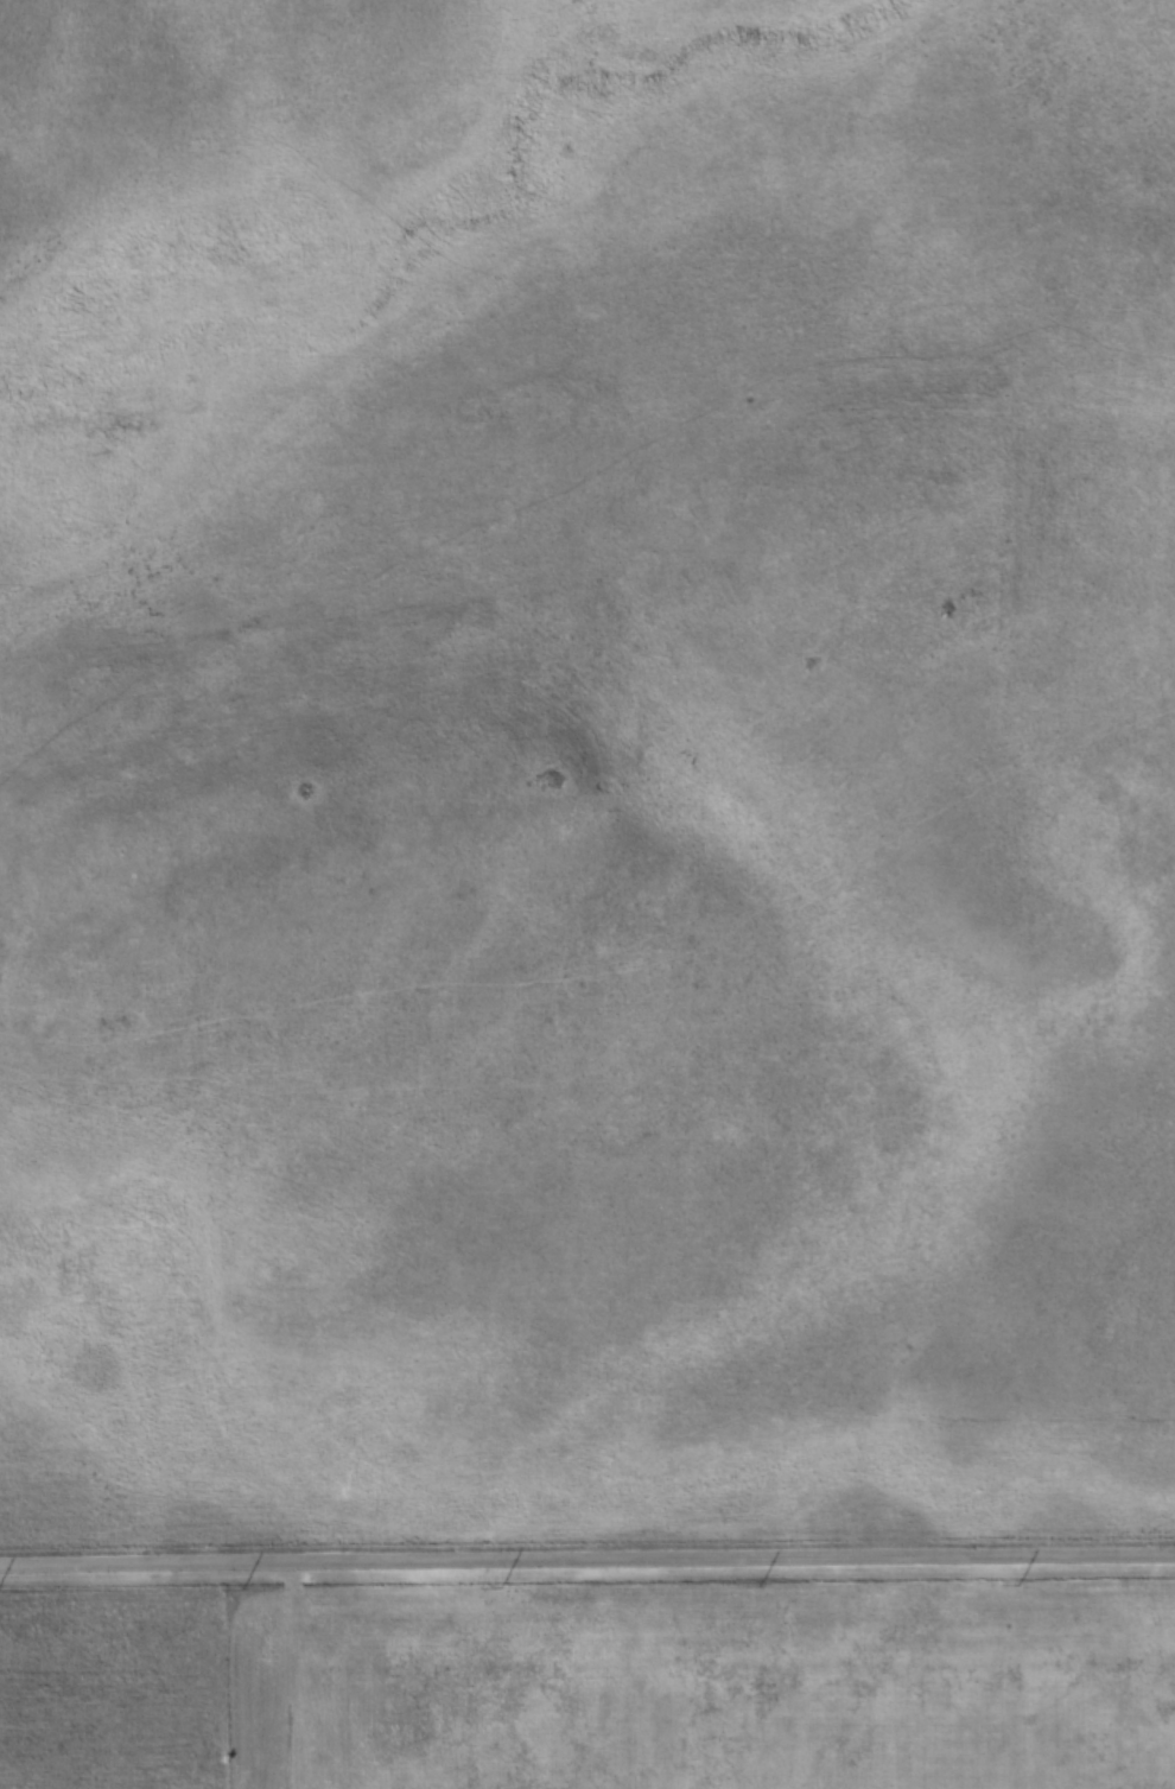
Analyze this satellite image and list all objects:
road: (587, 1568)

